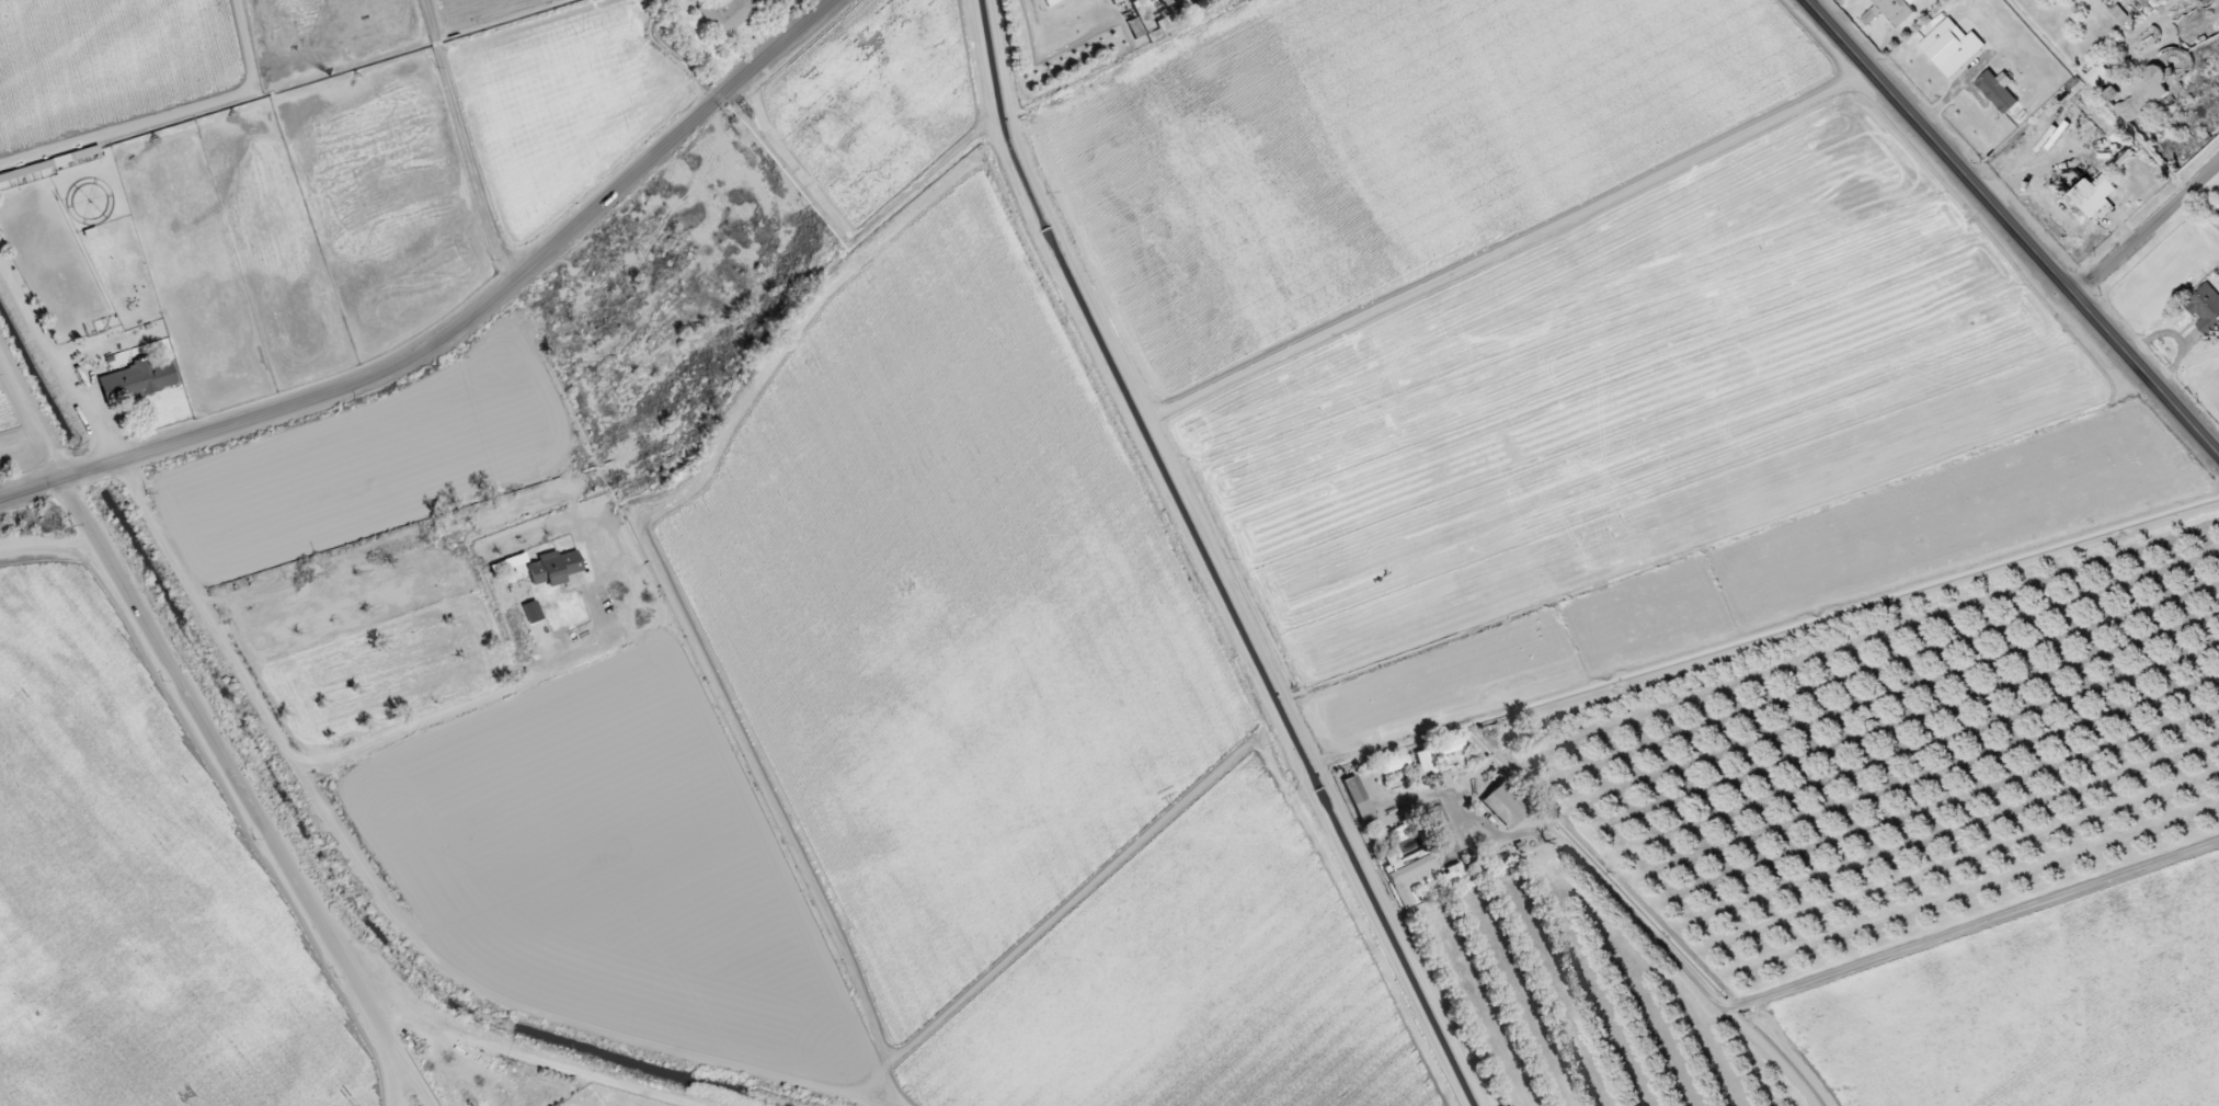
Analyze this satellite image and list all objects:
building: (2157, 0)
building: (1050, 2)
building: (724, 14)
building: (2118, 14)
building: (1869, 18)
building: (1134, 28)
building: (1951, 48)
building: (2098, 77)
building: (1997, 92)
building: (2142, 96)
road: (469, 140)
building: (2094, 199)
road: (2012, 227)
road: (2147, 230)
building: (2205, 308)
road: (460, 324)
building: (136, 380)
road: (23, 412)
building: (508, 565)
building: (552, 568)
building: (1450, 746)
building: (1425, 762)
road: (311, 763)
building: (1393, 765)
building: (1356, 799)
road: (219, 803)
building: (1503, 805)
building: (1451, 875)
building: (1408, 877)
road: (2006, 922)
road: (531, 1063)
road: (388, 1075)

